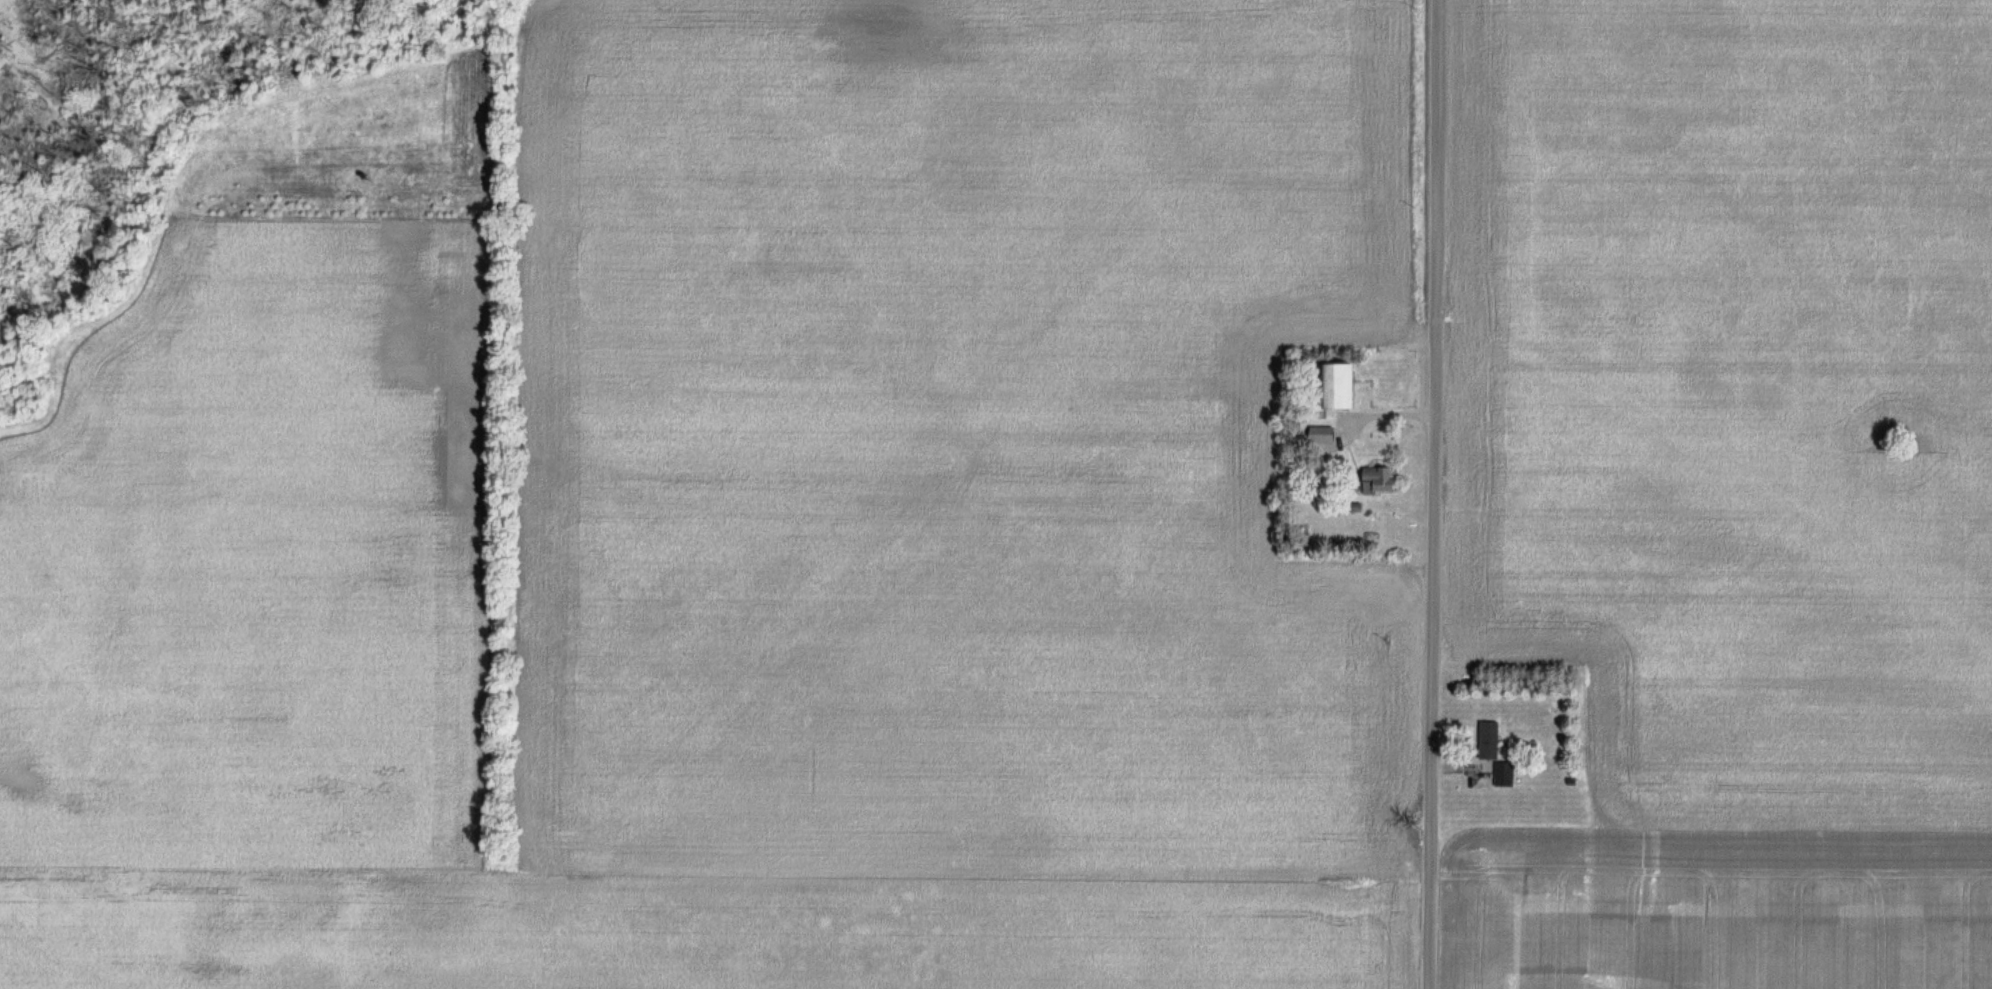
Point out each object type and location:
building: (1345, 385)
road: (1393, 413)
building: (1326, 434)
building: (1383, 480)
road: (1431, 494)
building: (1491, 740)
building: (1507, 774)

